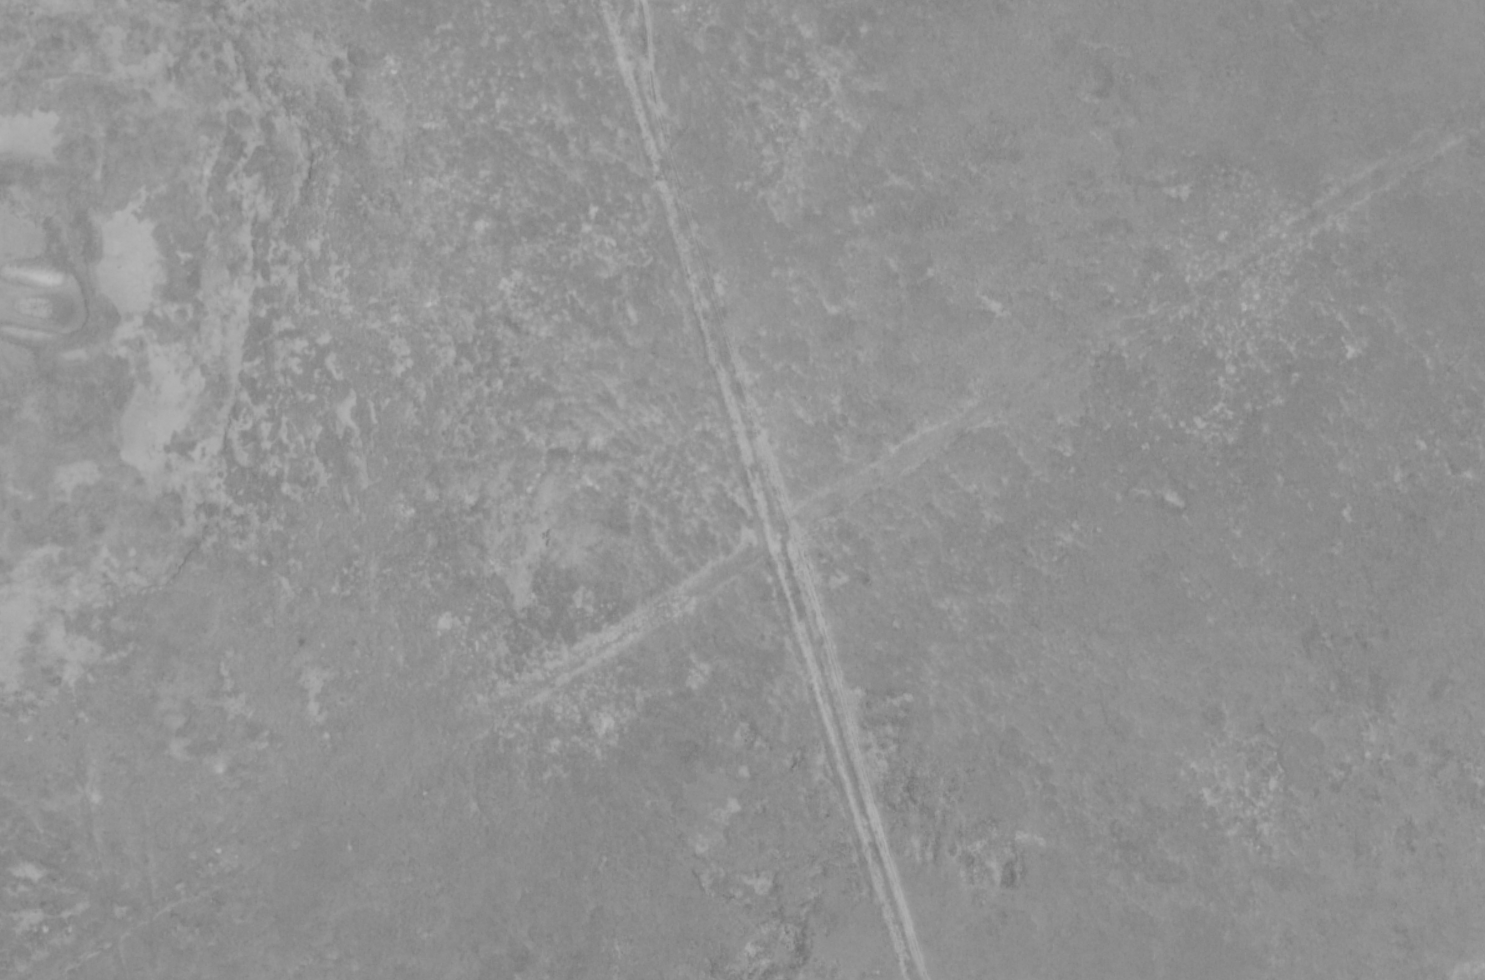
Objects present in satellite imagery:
road: (754, 490)

